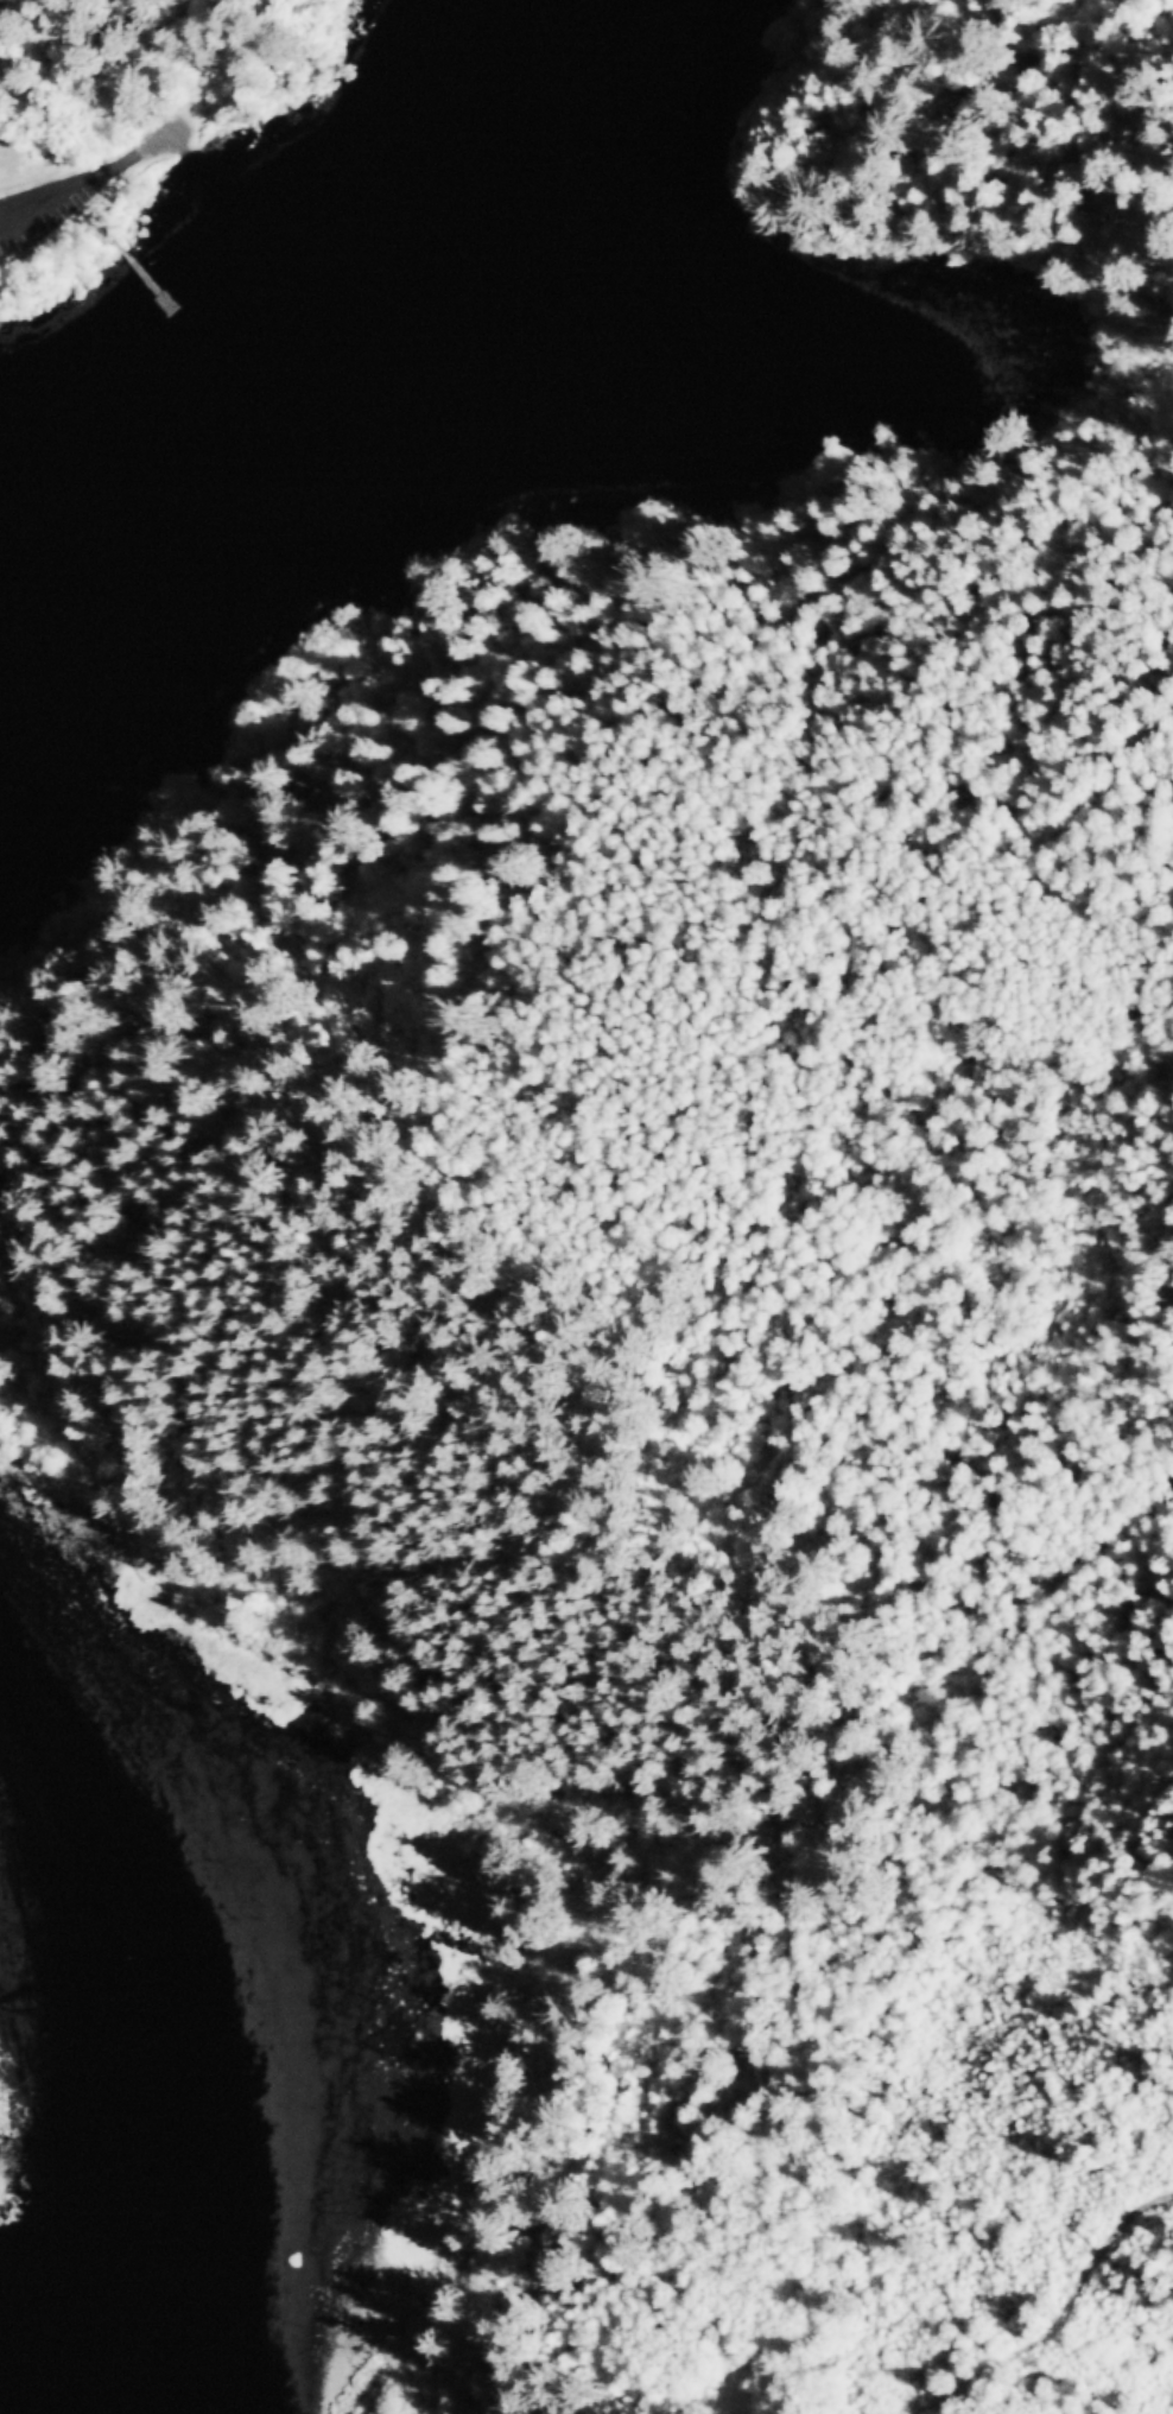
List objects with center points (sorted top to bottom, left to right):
road: (254, 74)
road: (1130, 75)
park: (137, 146)
road: (90, 180)
road: (91, 216)
pier: (139, 280)
road: (1070, 2321)

